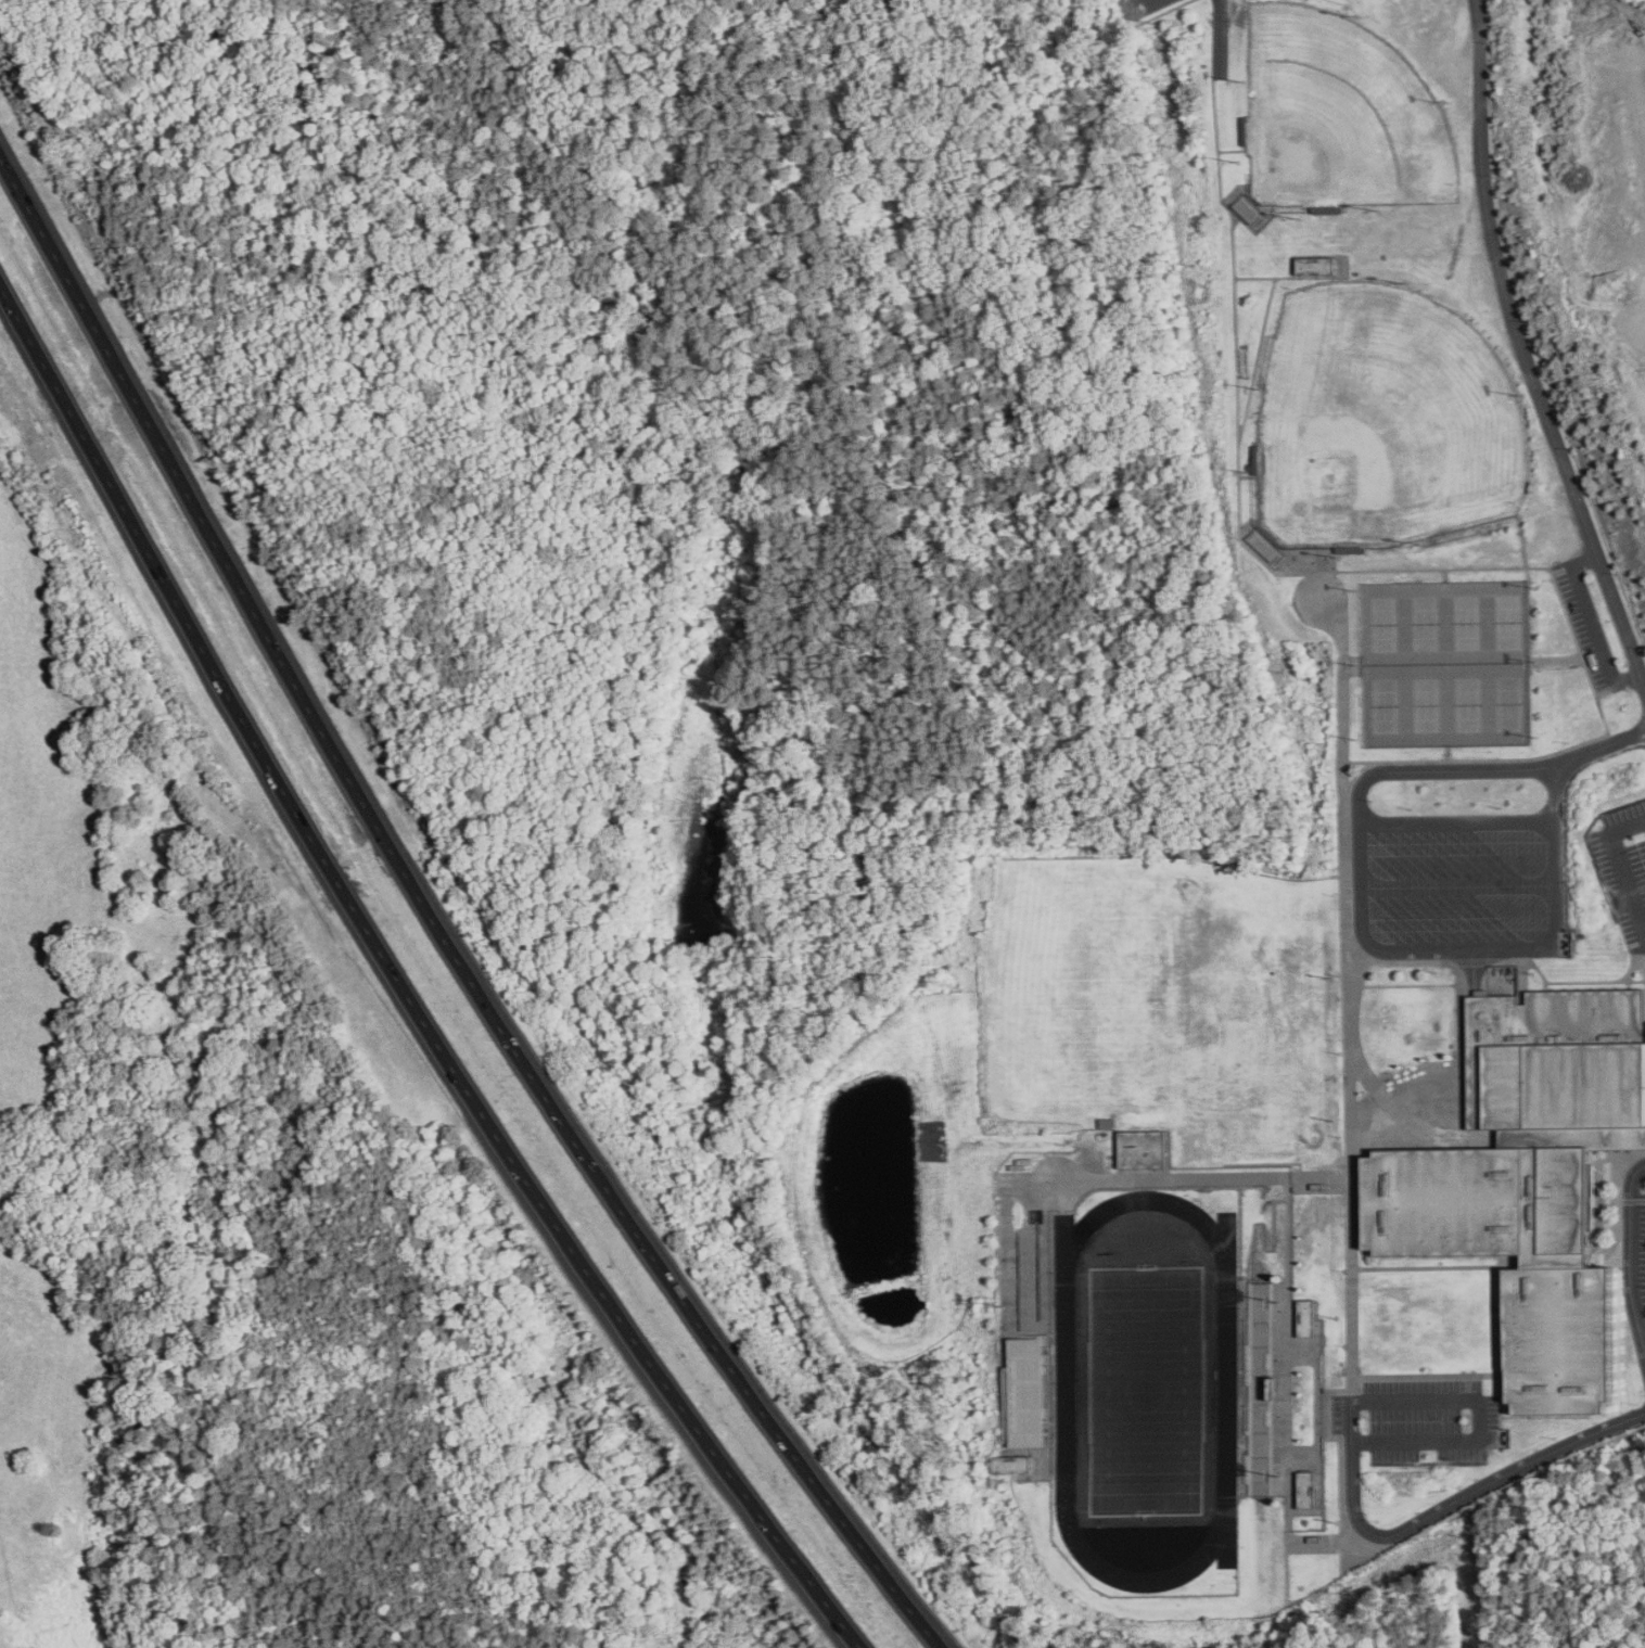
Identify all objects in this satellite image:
road: (1136, 4)
park: (1341, 114)
road: (1522, 357)
park: (1382, 422)
road: (1599, 746)
road: (1620, 869)
road: (434, 925)
road: (1373, 946)
road: (399, 987)
road: (1348, 996)
building: (1144, 1148)
building: (1531, 1181)
road: (1635, 1201)
road: (1633, 1249)
parking lot: (1635, 1251)
road: (1604, 1252)
building: (1311, 1318)
building: (1261, 1388)
track: (1067, 1390)
building: (1030, 1391)
park: (1147, 1391)
road: (1479, 1419)
building: (1018, 1465)
road: (1445, 1508)

